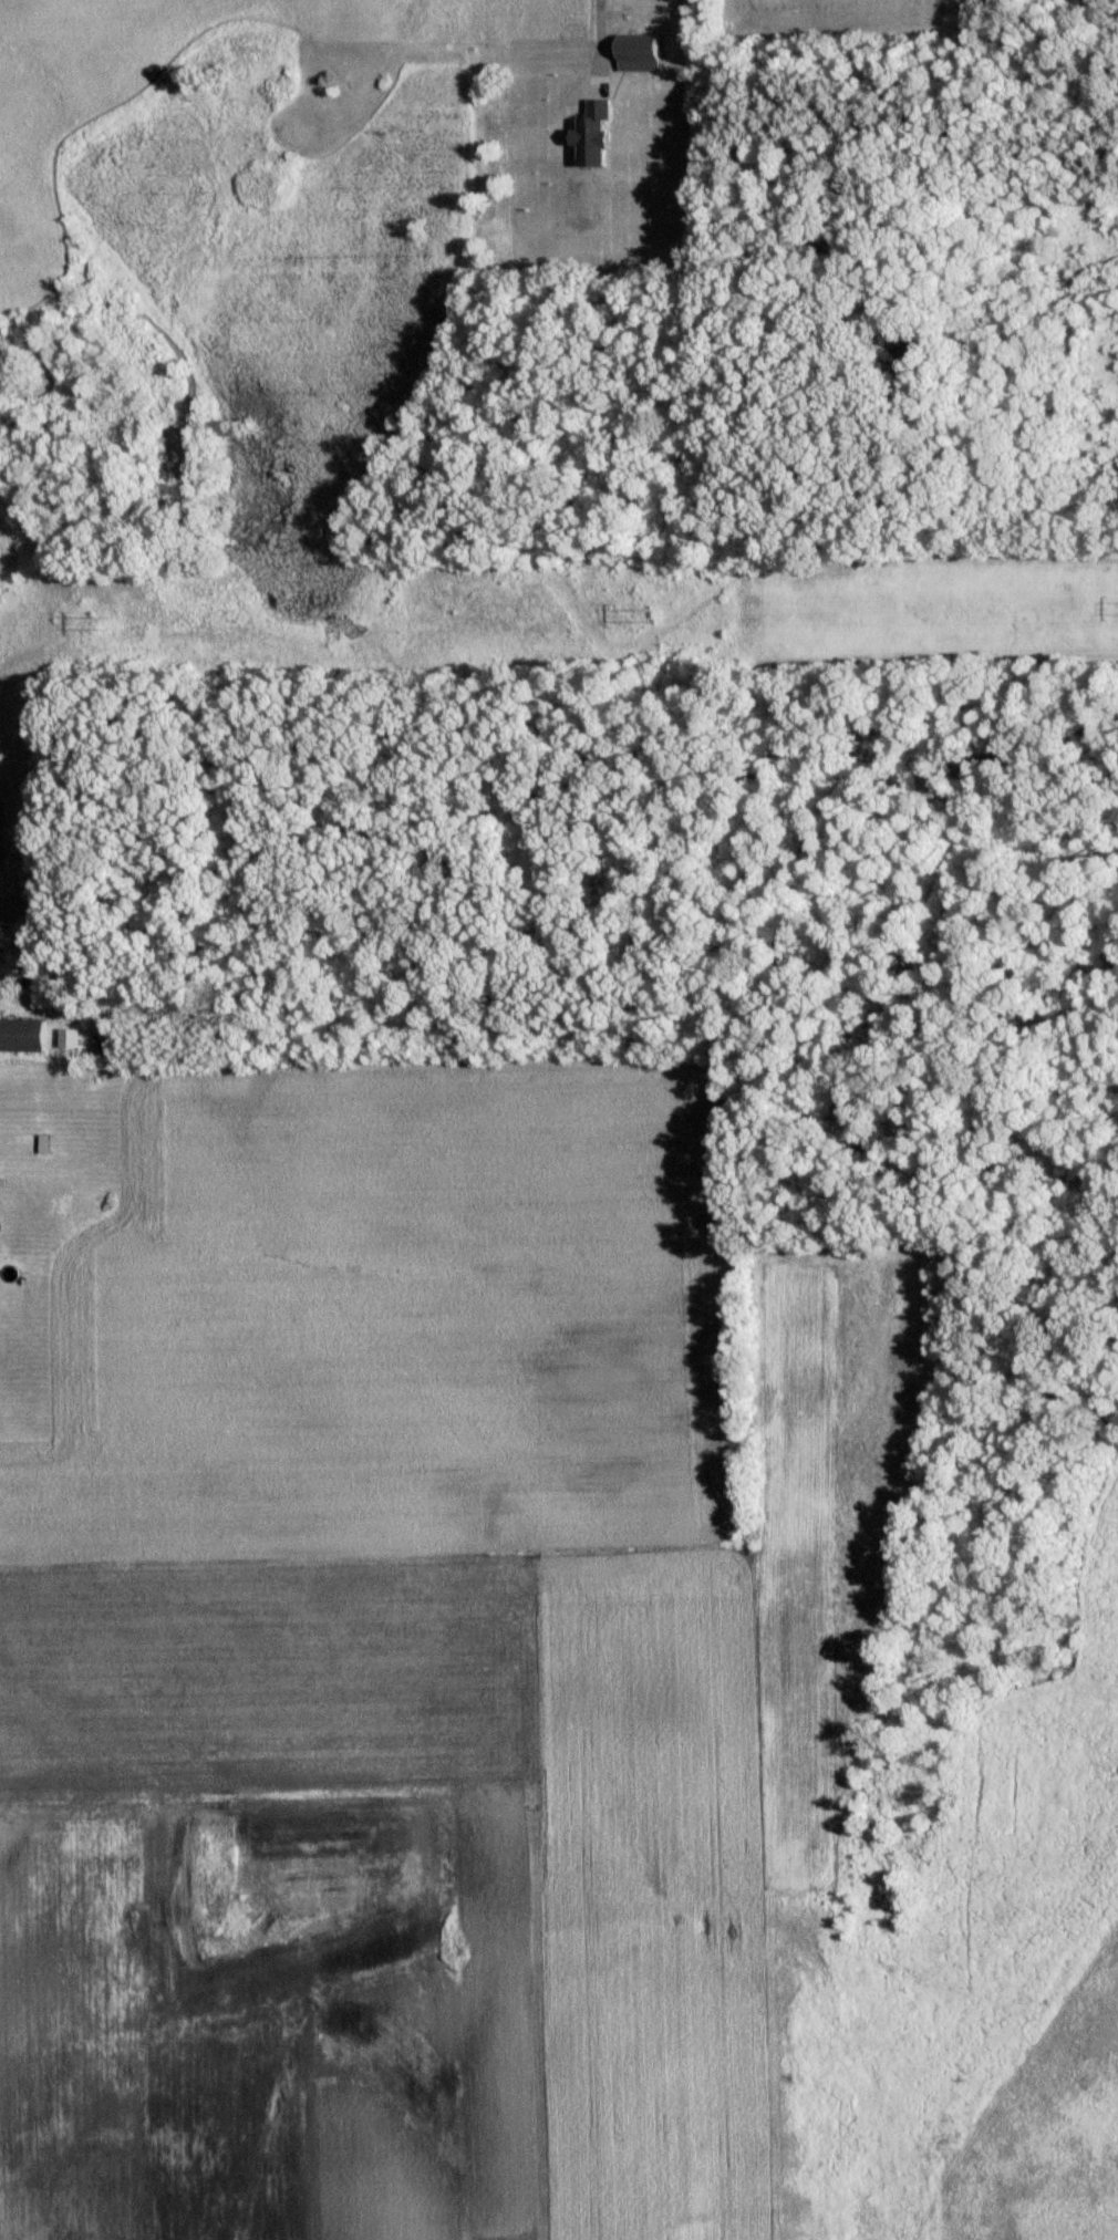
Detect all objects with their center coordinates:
building: (646, 52)
building: (598, 132)
power tower: (655, 613)
power tower: (112, 623)
building: (28, 1031)
building: (74, 1035)

